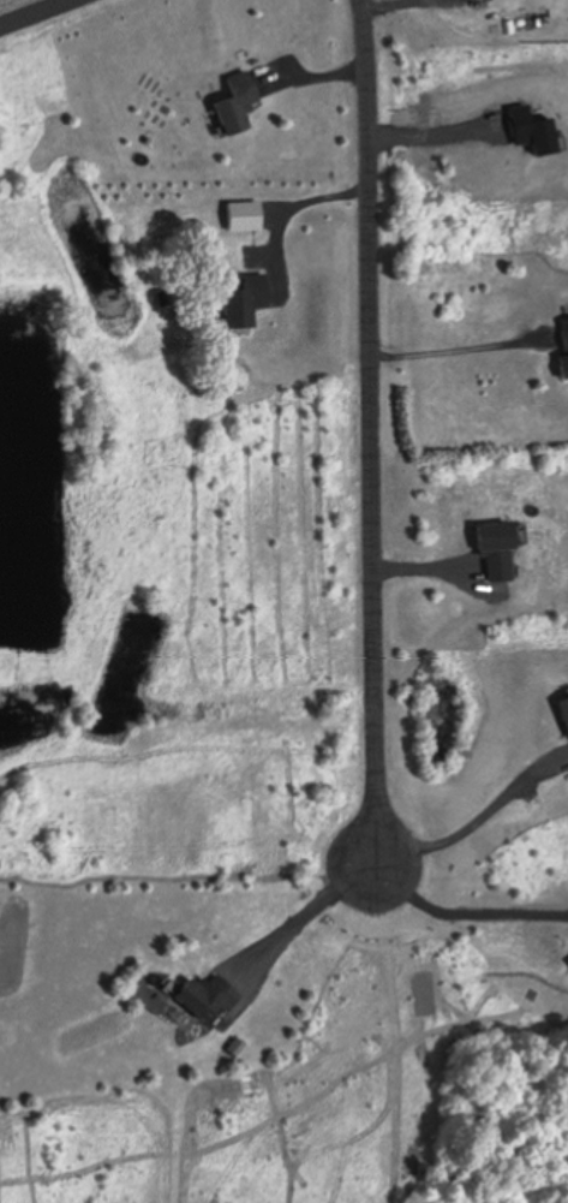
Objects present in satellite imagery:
crop: (12, 4)
road: (29, 11)
building: (234, 105)
building: (243, 303)
building: (563, 352)
road: (375, 434)
building: (563, 714)
building: (204, 999)

